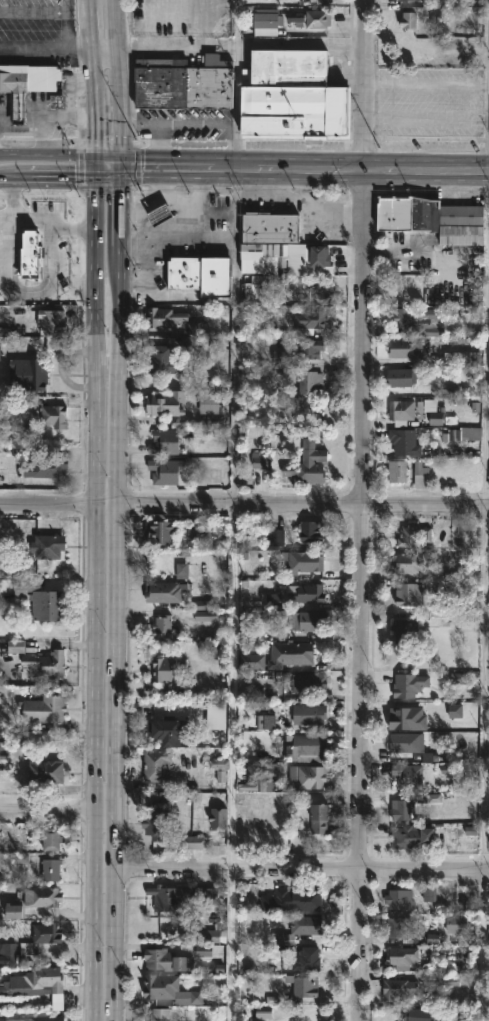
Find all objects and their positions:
building: (404, 0)
building: (311, 18)
building: (265, 20)
road: (66, 23)
road: (237, 24)
road: (176, 46)
road: (46, 47)
road: (105, 47)
road: (93, 78)
building: (184, 82)
building: (24, 86)
road: (118, 88)
building: (294, 95)
road: (48, 116)
road: (22, 117)
road: (195, 126)
road: (162, 146)
traffic signals: (95, 158)
traffic signals: (120, 158)
road: (47, 159)
road: (124, 159)
road: (177, 166)
road: (345, 167)
road: (137, 171)
traffic signals: (95, 177)
traffic signals: (121, 177)
road: (60, 178)
road: (42, 215)
building: (161, 215)
building: (432, 218)
building: (271, 228)
building: (36, 248)
building: (264, 261)
building: (201, 275)
road: (21, 289)
building: (401, 290)
building: (262, 293)
building: (159, 317)
building: (311, 318)
building: (417, 320)
building: (52, 321)
building: (311, 348)
building: (406, 348)
building: (164, 358)
building: (28, 374)
building: (400, 377)
building: (311, 381)
building: (207, 401)
building: (166, 402)
building: (402, 409)
building: (431, 410)
building: (55, 416)
building: (164, 441)
building: (405, 442)
building: (308, 463)
building: (49, 469)
building: (397, 469)
building: (164, 471)
building: (421, 473)
road: (244, 501)
road: (361, 510)
road: (234, 519)
building: (162, 530)
building: (312, 530)
building: (414, 533)
building: (273, 536)
building: (48, 545)
road: (484, 553)
building: (303, 561)
building: (411, 562)
road: (94, 589)
building: (164, 591)
building: (310, 592)
building: (407, 592)
road: (118, 599)
building: (43, 600)
building: (306, 619)
building: (163, 626)
building: (403, 631)
building: (290, 652)
building: (252, 660)
building: (46, 663)
building: (169, 668)
building: (411, 682)
building: (309, 683)
building: (44, 708)
building: (310, 713)
building: (216, 717)
building: (170, 731)
building: (304, 745)
building: (409, 746)
building: (157, 765)
building: (47, 770)
building: (408, 775)
building: (307, 777)
road: (57, 809)
building: (402, 810)
building: (218, 817)
building: (320, 817)
building: (157, 820)
building: (51, 838)
building: (193, 841)
building: (402, 841)
road: (289, 870)
building: (52, 871)
building: (170, 897)
building: (291, 898)
building: (35, 899)
building: (400, 899)
building: (456, 923)
building: (302, 926)
building: (400, 926)
building: (46, 931)
road: (230, 946)
building: (14, 951)
building: (404, 957)
building: (170, 958)
building: (307, 959)
building: (34, 980)
building: (305, 986)
building: (170, 989)
building: (399, 989)
building: (160, 1014)
building: (420, 1014)
building: (43, 1016)

